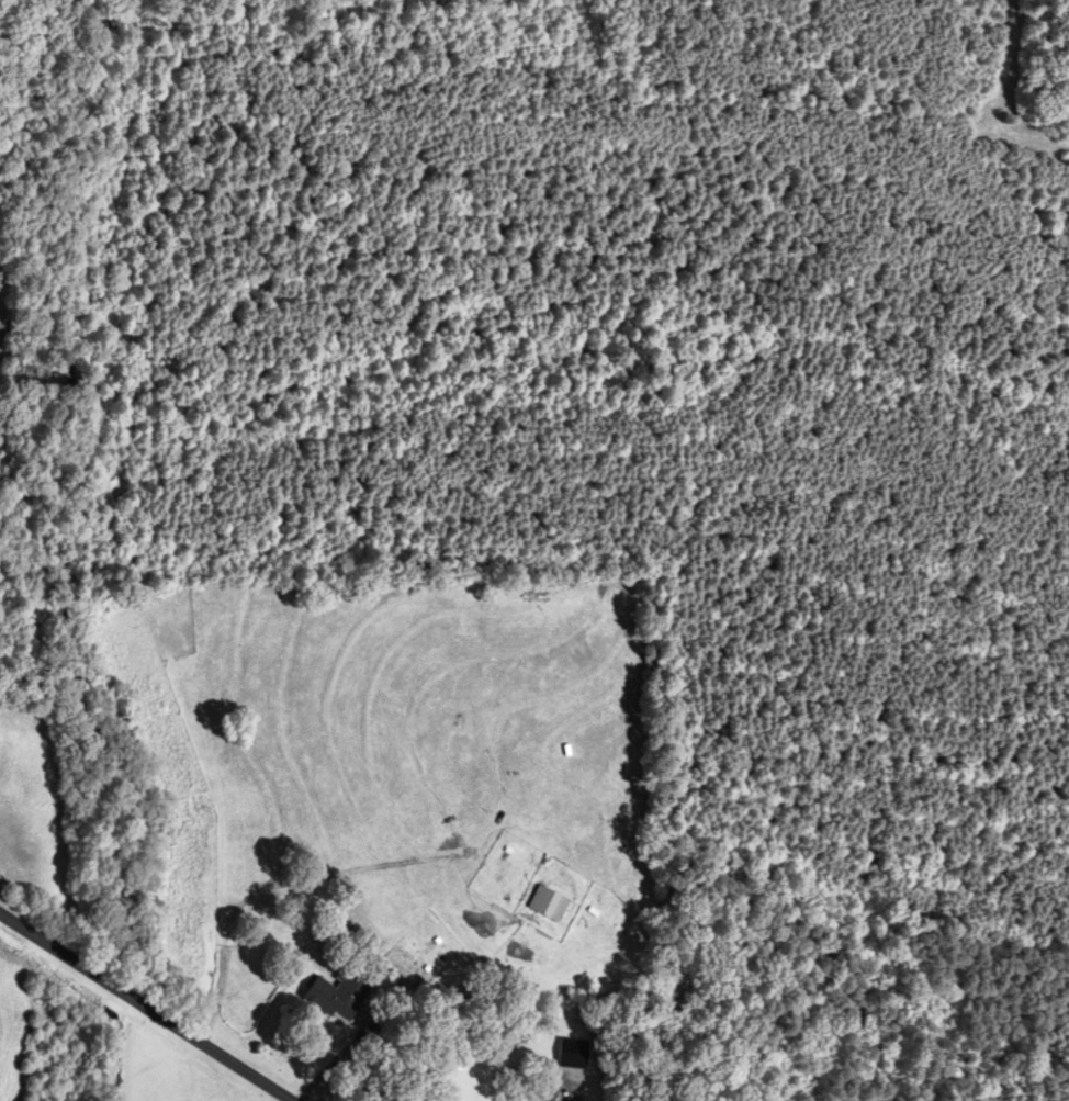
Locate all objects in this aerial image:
building: (548, 903)
building: (331, 1001)
road: (143, 1008)
building: (573, 1055)
road: (344, 1060)

